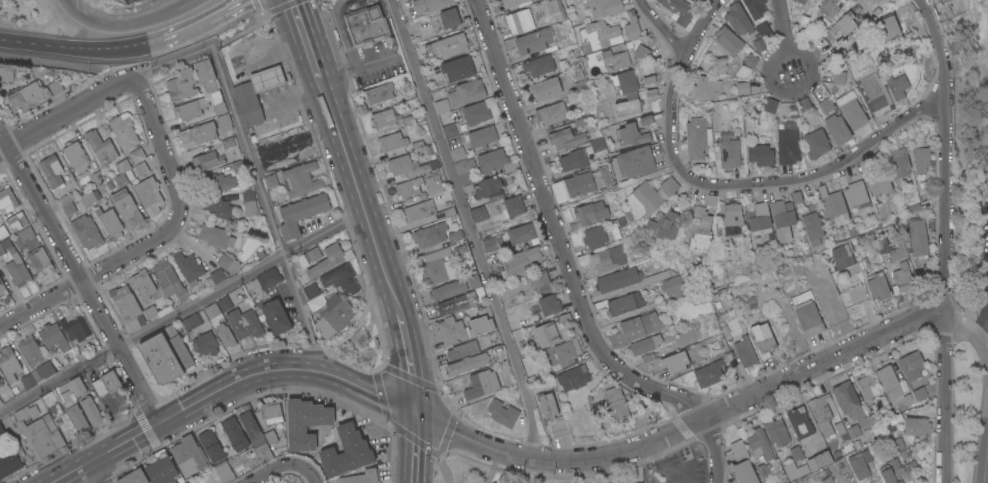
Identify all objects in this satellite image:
building: (938, 0)
building: (947, 0)
building: (801, 1)
road: (185, 2)
building: (512, 2)
building: (431, 4)
building: (604, 6)
building: (755, 7)
building: (830, 7)
building: (555, 9)
building: (679, 10)
building: (450, 18)
building: (738, 19)
building: (519, 20)
road: (200, 21)
building: (844, 23)
road: (120, 24)
building: (366, 25)
building: (632, 25)
road: (701, 27)
road: (782, 27)
building: (886, 27)
road: (253, 28)
building: (763, 28)
building: (600, 34)
road: (305, 38)
building: (729, 39)
building: (535, 40)
building: (448, 45)
building: (758, 45)
road: (79, 47)
road: (941, 49)
building: (642, 52)
building: (838, 55)
building: (615, 58)
building: (751, 60)
building: (539, 64)
building: (457, 68)
building: (5, 74)
building: (839, 76)
building: (206, 78)
building: (267, 79)
building: (625, 80)
road: (770, 83)
building: (181, 85)
building: (896, 85)
building: (581, 86)
building: (55, 87)
building: (545, 87)
building: (707, 87)
building: (743, 87)
building: (873, 90)
building: (466, 92)
building: (380, 93)
building: (28, 95)
building: (578, 101)
building: (628, 104)
building: (770, 104)
building: (804, 104)
building: (826, 104)
building: (442, 105)
building: (246, 106)
building: (189, 109)
building: (219, 109)
building: (852, 109)
building: (482, 111)
road: (64, 113)
building: (551, 113)
building: (383, 117)
building: (645, 119)
building: (223, 123)
building: (837, 128)
building: (449, 129)
building: (124, 130)
building: (197, 135)
building: (224, 135)
building: (632, 135)
building: (482, 136)
building: (697, 137)
building: (565, 138)
building: (392, 141)
road: (161, 143)
building: (227, 143)
building: (816, 143)
building: (597, 144)
building: (788, 145)
building: (100, 148)
building: (266, 152)
building: (457, 153)
building: (729, 153)
building: (761, 154)
building: (136, 156)
building: (75, 158)
building: (921, 159)
building: (206, 161)
building: (495, 161)
building: (569, 161)
building: (633, 162)
building: (900, 165)
building: (237, 166)
road: (252, 166)
building: (408, 167)
building: (140, 169)
building: (52, 171)
building: (122, 173)
building: (465, 173)
building: (97, 178)
building: (299, 180)
building: (270, 181)
building: (217, 183)
building: (582, 183)
building: (880, 184)
building: (420, 185)
building: (487, 186)
road: (725, 186)
building: (856, 193)
road: (360, 194)
building: (148, 195)
building: (650, 196)
building: (90, 197)
building: (6, 199)
building: (710, 199)
building: (248, 203)
building: (832, 203)
building: (67, 205)
building: (508, 206)
building: (126, 209)
building: (217, 209)
building: (426, 210)
building: (591, 212)
building: (479, 213)
building: (300, 214)
building: (759, 216)
building: (731, 218)
building: (783, 218)
building: (19, 222)
building: (109, 223)
building: (664, 225)
building: (813, 227)
road: (469, 228)
building: (700, 230)
building: (2, 232)
building: (86, 232)
building: (522, 233)
building: (429, 234)
building: (595, 236)
building: (27, 238)
building: (219, 238)
building: (918, 239)
building: (489, 244)
building: (6, 246)
building: (900, 247)
building: (259, 254)
building: (311, 255)
building: (347, 255)
building: (841, 256)
building: (609, 258)
building: (326, 260)
building: (519, 261)
building: (39, 262)
building: (228, 263)
road: (569, 266)
building: (188, 268)
building: (438, 270)
building: (17, 271)
road: (94, 274)
building: (660, 275)
road: (79, 276)
building: (218, 276)
building: (903, 276)
building: (268, 279)
building: (340, 279)
building: (618, 279)
building: (474, 280)
building: (541, 280)
building: (168, 281)
building: (142, 284)
building: (878, 285)
building: (678, 286)
building: (448, 289)
building: (2, 290)
building: (310, 291)
road: (943, 292)
building: (154, 295)
building: (223, 303)
building: (456, 303)
building: (625, 303)
building: (315, 304)
building: (550, 304)
building: (126, 306)
road: (182, 310)
building: (150, 312)
building: (336, 312)
building: (807, 313)
building: (275, 317)
road: (979, 322)
building: (188, 323)
building: (243, 324)
building: (480, 325)
building: (218, 326)
building: (636, 328)
building: (74, 329)
building: (451, 330)
building: (169, 333)
building: (547, 334)
building: (49, 335)
road: (975, 335)
building: (763, 339)
building: (206, 344)
building: (645, 344)
building: (462, 349)
building: (567, 349)
building: (29, 351)
building: (692, 353)
building: (181, 354)
building: (744, 354)
building: (80, 356)
building: (675, 361)
building: (467, 363)
building: (8, 364)
road: (408, 364)
building: (911, 365)
building: (709, 372)
building: (37, 375)
road: (247, 377)
building: (574, 377)
building: (889, 381)
building: (481, 383)
building: (0, 384)
building: (105, 384)
building: (868, 386)
building: (76, 387)
building: (14, 390)
building: (919, 393)
building: (0, 402)
building: (614, 402)
building: (849, 402)
building: (52, 405)
building: (547, 405)
building: (90, 411)
building: (74, 412)
building: (822, 412)
building: (502, 413)
traffic signals: (415, 415)
building: (800, 421)
building: (892, 422)
building: (305, 423)
road: (691, 423)
building: (917, 426)
building: (261, 429)
building: (558, 429)
building: (279, 430)
building: (853, 431)
building: (777, 432)
building: (1, 433)
building: (39, 433)
building: (233, 434)
building: (760, 443)
building: (898, 444)
building: (210, 446)
road: (413, 449)
building: (346, 452)
building: (796, 453)
building: (187, 456)
building: (819, 460)
building: (742, 463)
building: (9, 464)
building: (858, 465)
building: (893, 465)
road: (281, 466)
road: (986, 467)
building: (160, 468)
building: (794, 469)
road: (69, 471)
road: (96, 471)
building: (765, 471)
building: (222, 472)
building: (888, 475)
building: (825, 476)
building: (133, 477)
building: (362, 477)
building: (164, 482)

